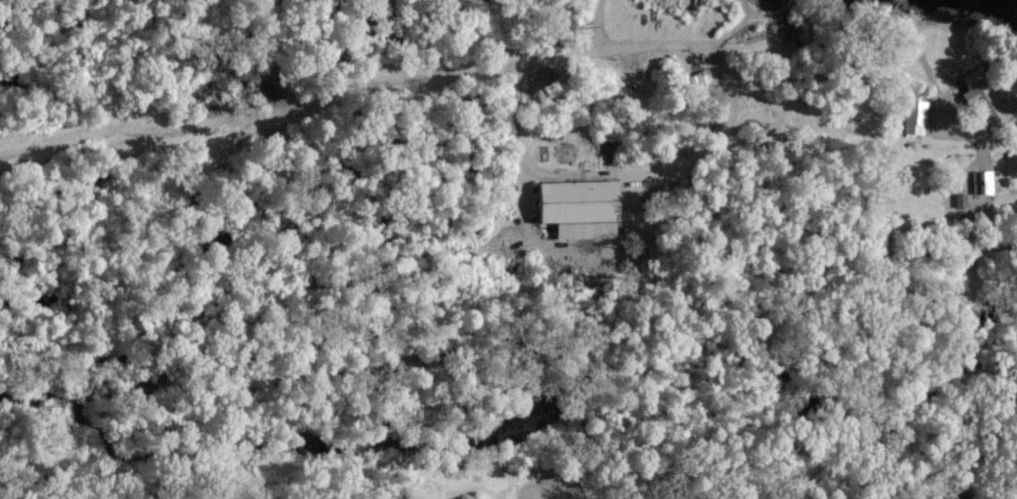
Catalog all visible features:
road: (598, 24)
road: (733, 28)
road: (930, 79)
road: (260, 113)
building: (918, 116)
road: (990, 143)
road: (711, 145)
building: (582, 205)

